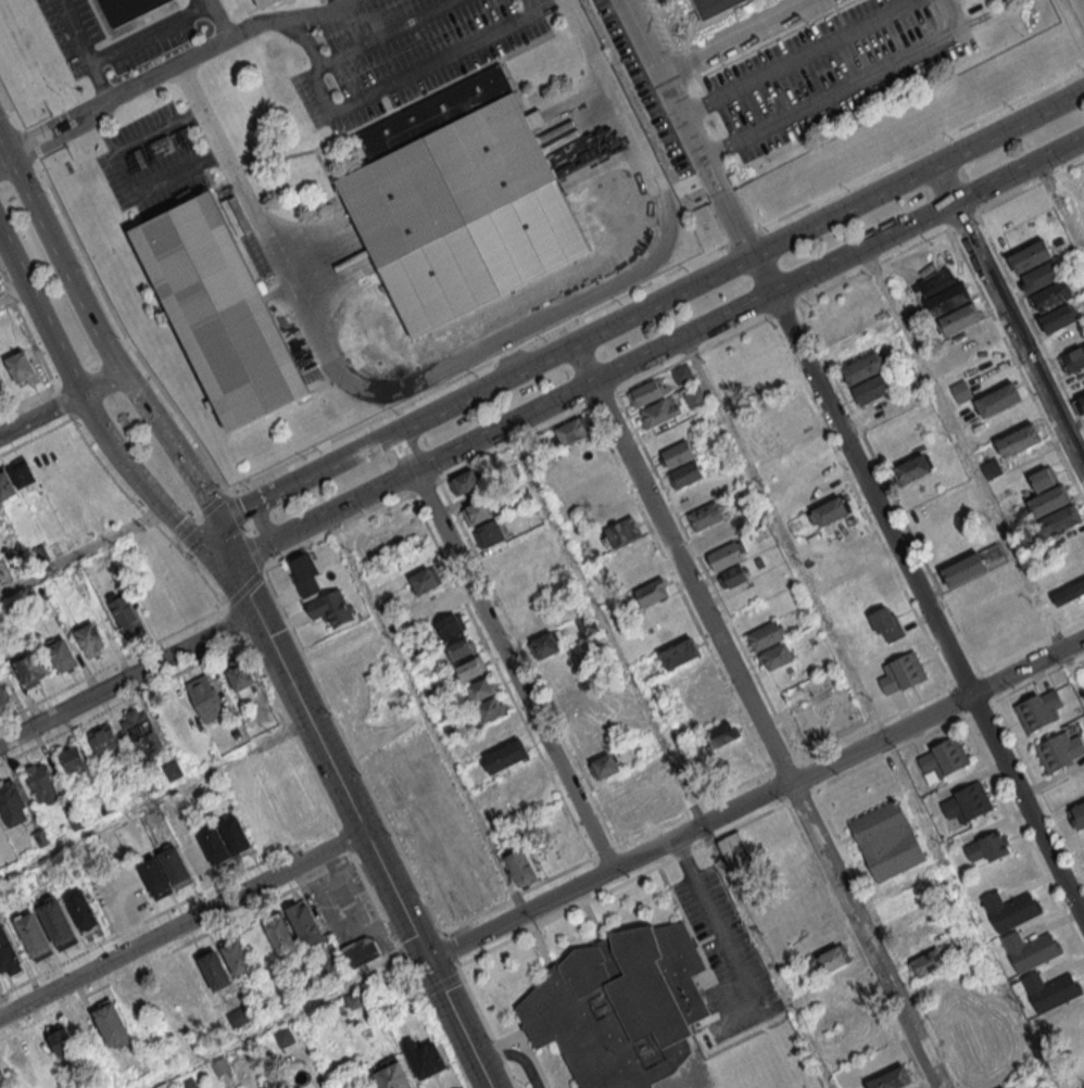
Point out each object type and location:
building: (652, 0)
building: (255, 1)
road: (1083, 1)
building: (268, 4)
building: (717, 8)
building: (127, 9)
road: (218, 17)
road: (151, 33)
road: (386, 34)
road: (739, 36)
parking lot: (399, 49)
road: (85, 50)
road: (799, 58)
road: (173, 65)
parking lot: (816, 67)
road: (391, 86)
road: (846, 87)
road: (691, 129)
parking lot: (154, 157)
road: (4, 162)
road: (1061, 202)
building: (459, 206)
building: (1011, 216)
road: (59, 256)
building: (1031, 256)
building: (1039, 276)
road: (13, 295)
building: (1051, 296)
building: (947, 298)
road: (645, 313)
building: (1059, 317)
building: (958, 318)
building: (223, 319)
road: (1009, 321)
building: (1069, 338)
building: (969, 339)
road: (651, 347)
road: (470, 351)
building: (1073, 359)
building: (21, 367)
building: (862, 368)
building: (681, 374)
building: (872, 388)
building: (960, 391)
building: (646, 392)
building: (694, 395)
building: (998, 398)
building: (1082, 400)
road: (60, 403)
road: (85, 408)
building: (883, 408)
building: (783, 409)
building: (659, 410)
building: (571, 429)
building: (790, 429)
building: (1019, 440)
road: (177, 454)
building: (678, 454)
road: (972, 465)
building: (912, 469)
building: (991, 469)
building: (21, 472)
building: (685, 473)
building: (1043, 478)
building: (465, 483)
building: (7, 485)
building: (605, 488)
building: (1048, 501)
building: (0, 506)
building: (831, 509)
building: (478, 510)
building: (705, 516)
building: (1059, 520)
road: (259, 522)
building: (621, 531)
building: (491, 532)
building: (715, 535)
traffic signals: (216, 544)
building: (953, 549)
building: (39, 554)
road: (81, 554)
building: (724, 555)
building: (1072, 564)
building: (963, 569)
building: (642, 571)
building: (2, 573)
building: (305, 573)
building: (736, 575)
road: (237, 577)
building: (425, 581)
building: (652, 591)
building: (1070, 593)
road: (918, 594)
building: (436, 604)
building: (331, 607)
building: (124, 612)
building: (886, 623)
building: (588, 624)
building: (449, 625)
building: (766, 634)
building: (90, 640)
building: (545, 644)
building: (461, 648)
road: (506, 653)
building: (680, 653)
building: (62, 655)
building: (776, 656)
park: (1082, 661)
building: (555, 665)
building: (30, 667)
building: (471, 668)
building: (341, 671)
building: (903, 671)
building: (241, 675)
road: (127, 678)
building: (480, 691)
building: (3, 694)
building: (206, 698)
building: (579, 703)
building: (490, 708)
road: (868, 709)
building: (1037, 709)
road: (424, 711)
building: (711, 712)
road: (759, 717)
building: (719, 733)
building: (142, 734)
building: (105, 742)
building: (1060, 750)
road: (667, 755)
building: (505, 756)
building: (945, 756)
building: (73, 759)
building: (606, 766)
building: (171, 770)
building: (524, 777)
building: (41, 783)
road: (754, 798)
building: (967, 800)
road: (154, 801)
building: (11, 804)
building: (1077, 815)
building: (877, 821)
building: (235, 834)
building: (214, 844)
building: (990, 845)
road: (370, 850)
building: (735, 852)
building: (174, 864)
building: (521, 868)
building: (155, 874)
building: (790, 878)
building: (105, 886)
building: (133, 887)
building: (902, 899)
building: (1012, 909)
building: (83, 912)
building: (58, 922)
road: (180, 924)
building: (305, 924)
road: (718, 932)
building: (280, 934)
building: (34, 935)
building: (918, 941)
building: (961, 941)
building: (1031, 950)
building: (8, 952)
building: (358, 953)
building: (236, 957)
building: (831, 959)
building: (928, 962)
traffic signals: (427, 963)
building: (204, 971)
building: (1050, 990)
building: (353, 1001)
building: (623, 1009)
road: (281, 1017)
building: (112, 1025)
building: (285, 1037)
building: (51, 1046)
building: (424, 1058)
building: (17, 1061)
building: (222, 1066)
building: (3, 1075)
building: (392, 1076)
building: (891, 1078)
building: (186, 1083)
building: (911, 1086)
building: (1010, 1086)

